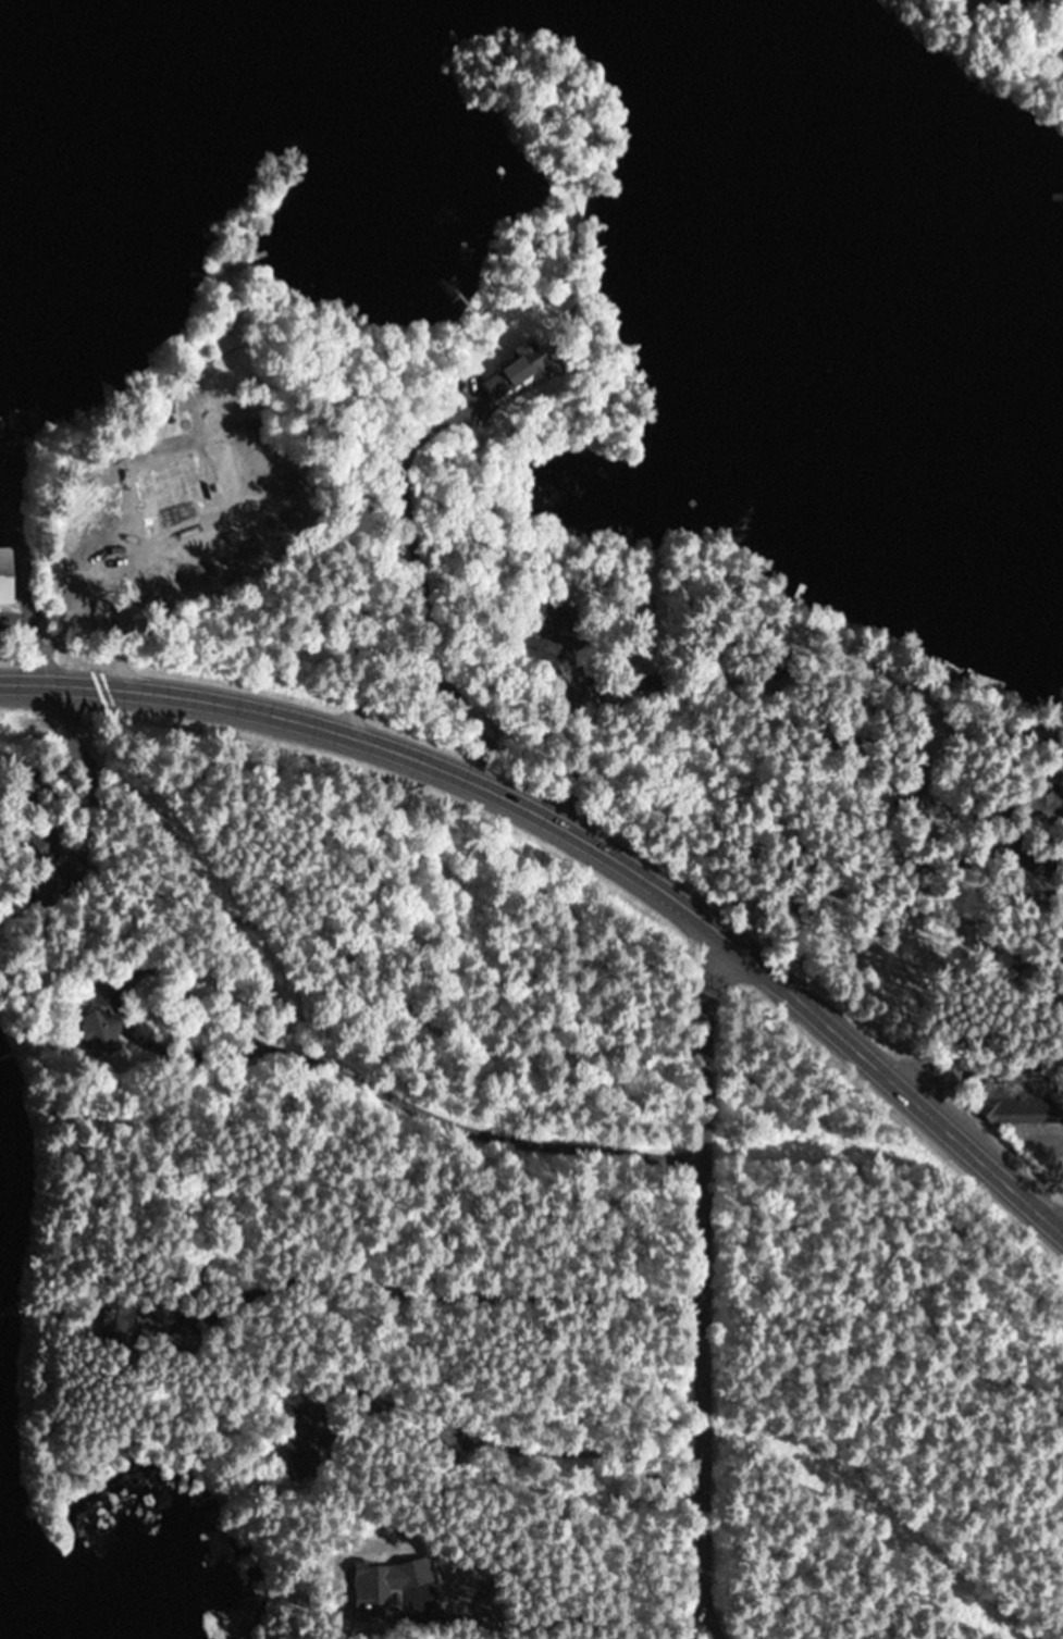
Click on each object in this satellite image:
building: (893, 3)
building: (208, 415)
building: (7, 576)
building: (548, 623)
building: (1051, 803)
road: (588, 836)
building: (47, 840)
road: (291, 1026)
building: (101, 1031)
building: (1019, 1101)
road: (1009, 1131)
road: (820, 1132)
road: (682, 1284)
building: (292, 1439)
building: (445, 1445)
building: (366, 1592)

